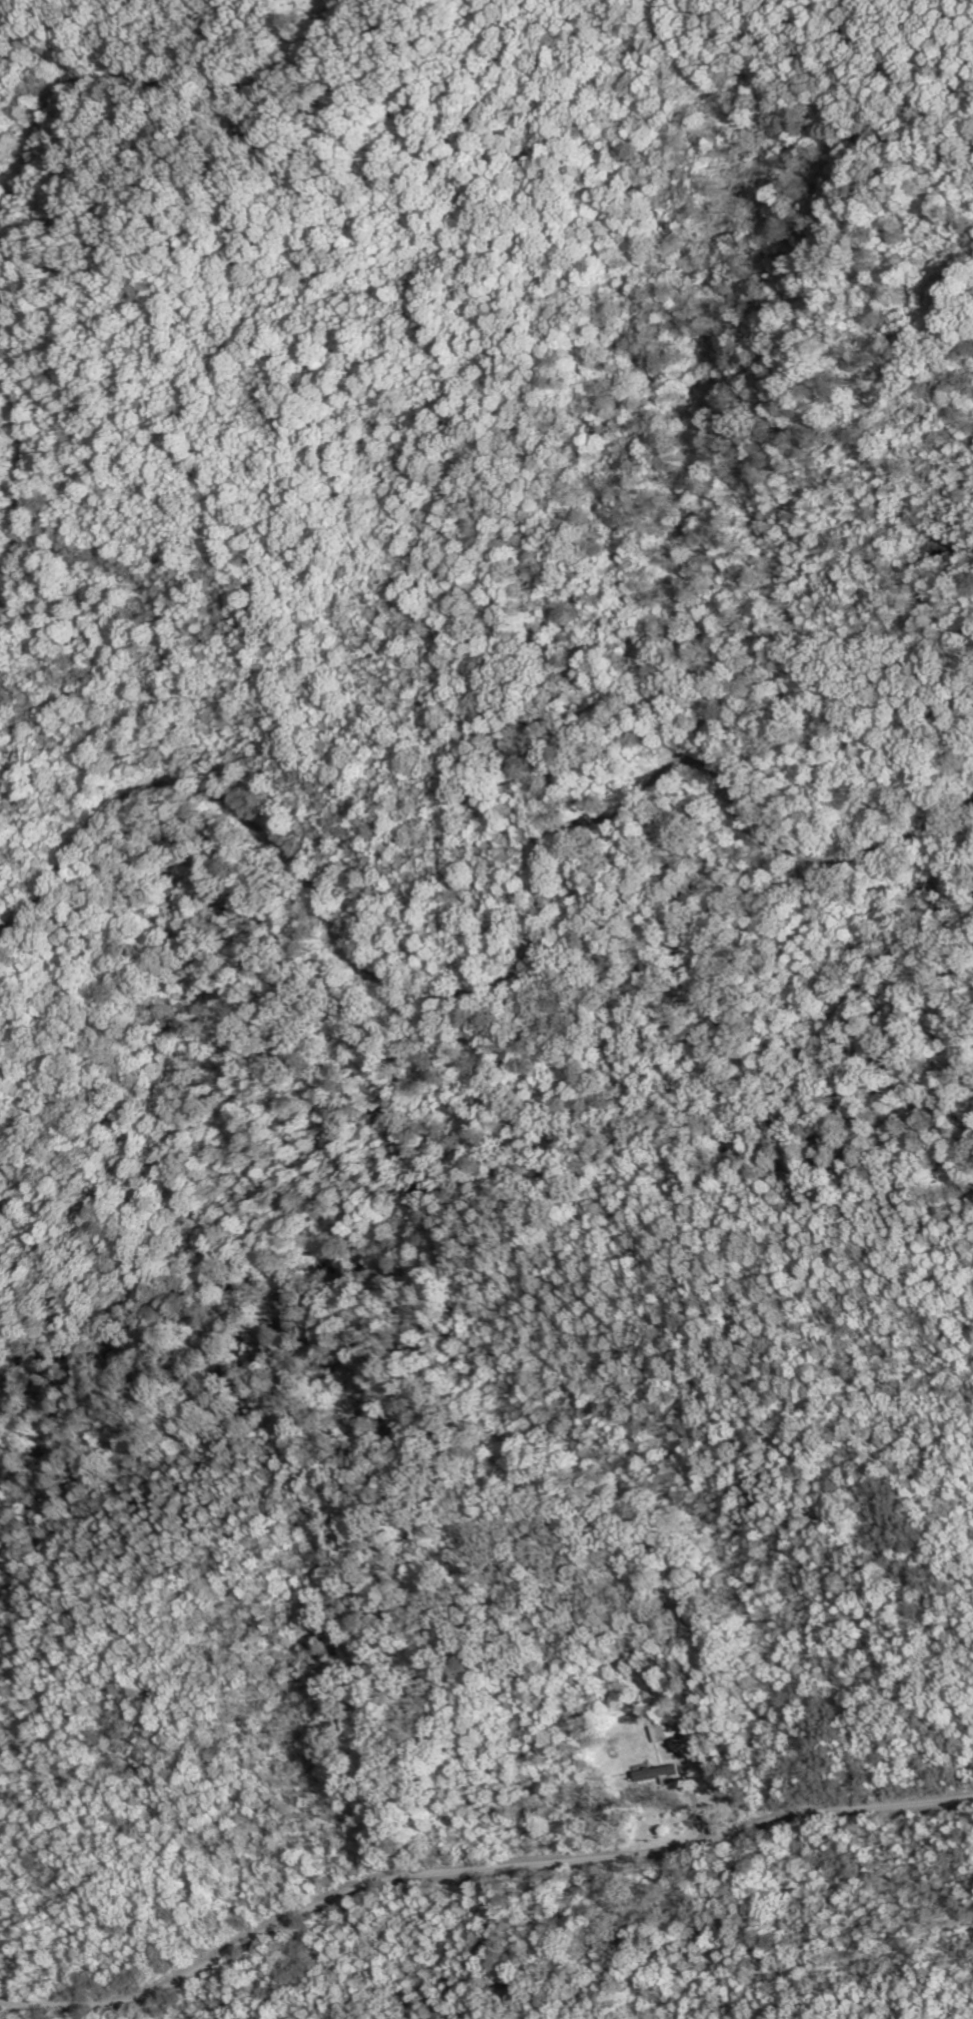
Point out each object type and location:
road: (135, 73)
road: (30, 490)
road: (503, 981)
road: (476, 1870)

